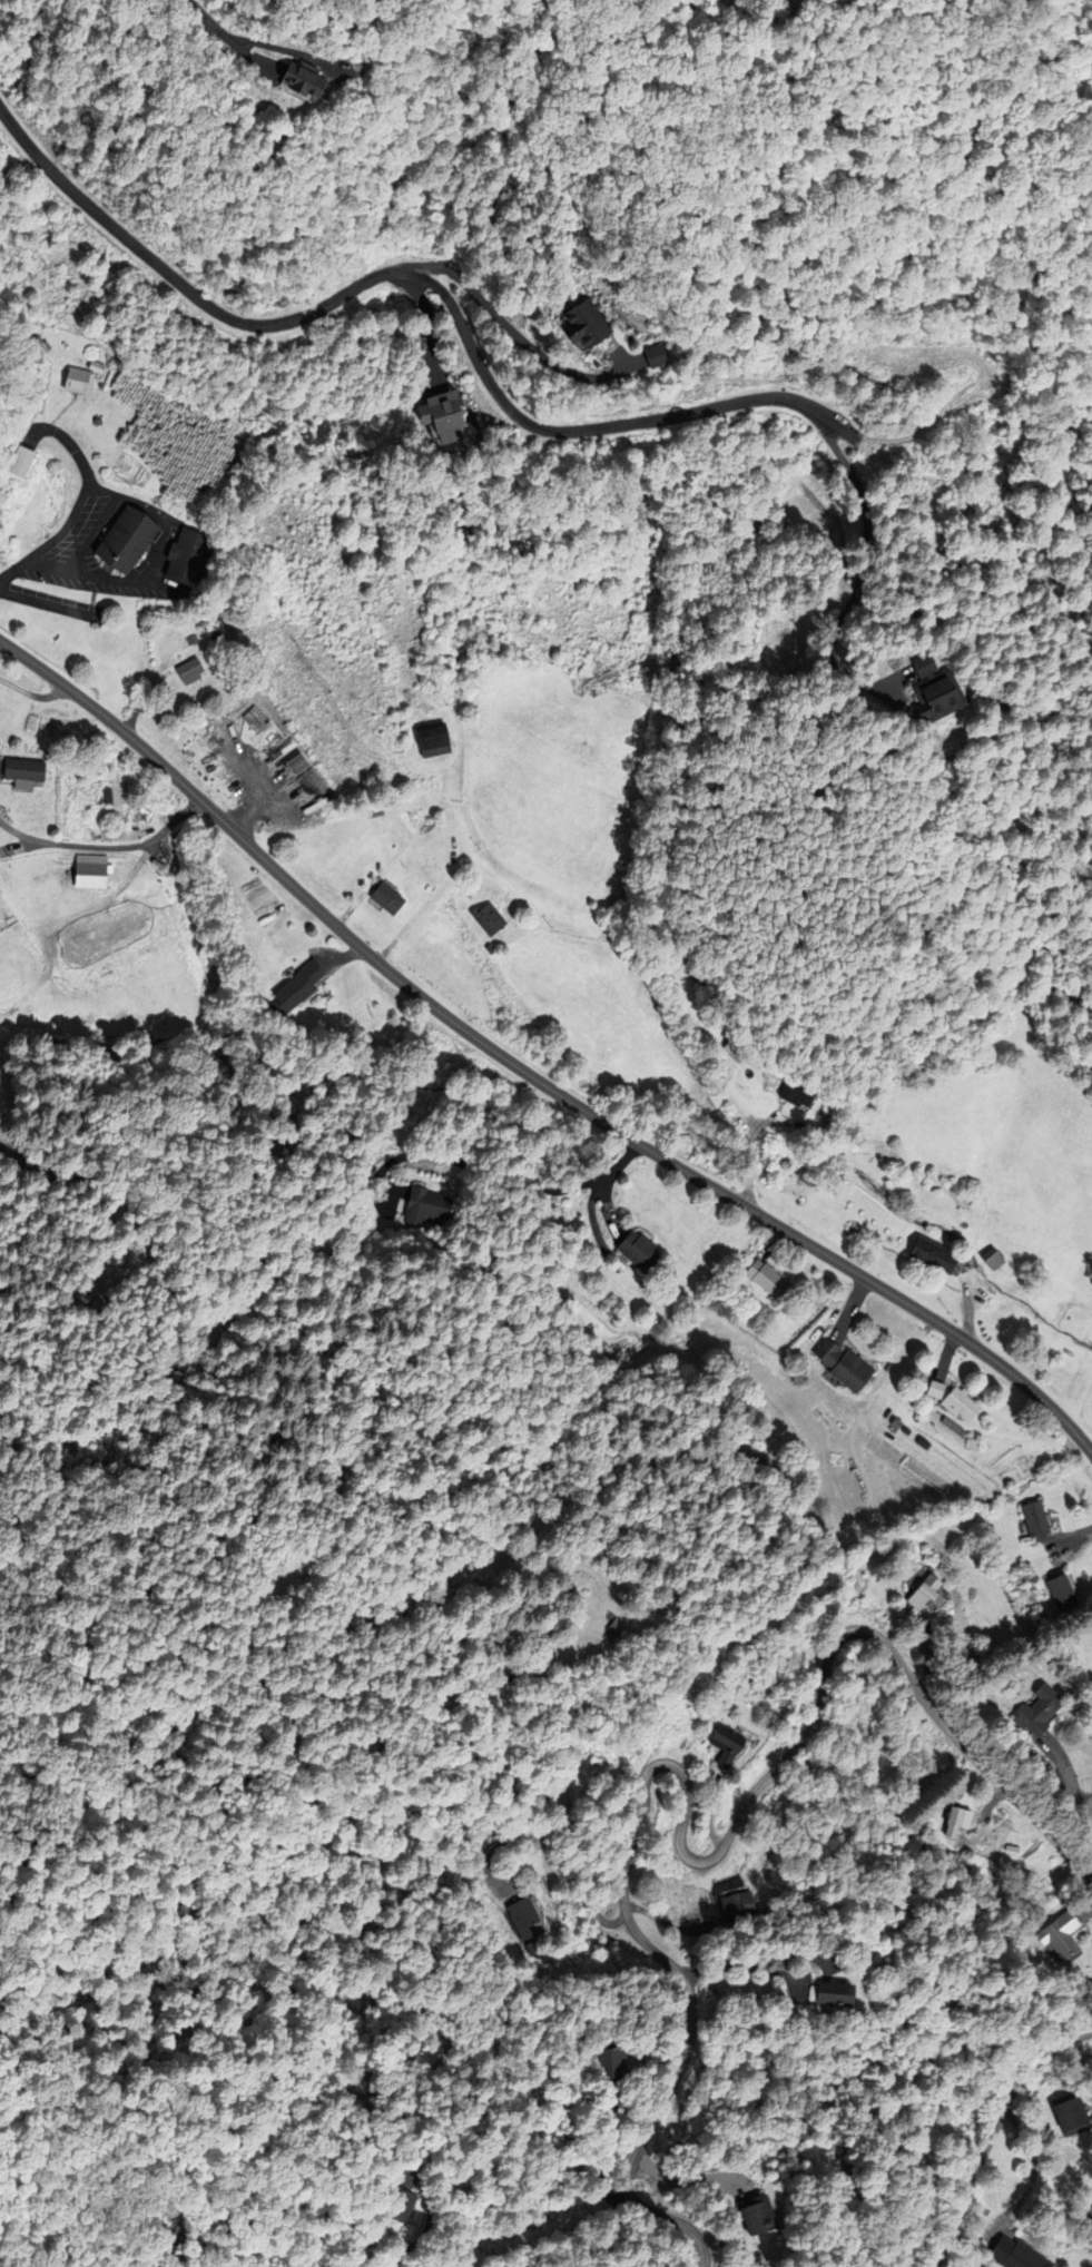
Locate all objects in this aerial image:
road: (208, 19)
road: (288, 50)
road: (252, 56)
building: (288, 80)
road: (419, 277)
building: (581, 325)
building: (32, 346)
building: (647, 356)
building: (73, 382)
building: (13, 463)
road: (864, 506)
building: (118, 541)
building: (178, 558)
road: (840, 671)
building: (183, 672)
building: (926, 692)
building: (430, 742)
building: (19, 771)
building: (109, 797)
road: (134, 846)
building: (85, 877)
building: (37, 880)
building: (383, 899)
road: (417, 911)
building: (485, 919)
building: (295, 986)
building: (734, 1051)
road: (527, 1073)
building: (795, 1095)
road: (749, 1166)
building: (424, 1208)
building: (636, 1251)
building: (929, 1255)
building: (992, 1261)
building: (765, 1279)
road: (852, 1305)
building: (1079, 1317)
building: (839, 1363)
building: (934, 1390)
building: (958, 1404)
building: (1032, 1518)
road: (1078, 1538)
building: (1059, 1593)
building: (917, 1599)
road: (928, 1658)
building: (1036, 1712)
building: (725, 1746)
road: (1076, 1805)
road: (708, 1812)
building: (952, 1822)
road: (564, 1833)
road: (681, 1841)
road: (981, 1851)
building: (734, 1904)
road: (1085, 1908)
building: (522, 1918)
road: (661, 1919)
building: (1056, 1935)
road: (795, 1955)
road: (740, 1963)
building: (820, 1993)
building: (1069, 2117)
road: (992, 2131)
road: (603, 2155)
road: (1033, 2167)
road: (683, 2178)
building: (394, 2207)
building: (750, 2216)
road: (426, 2222)

